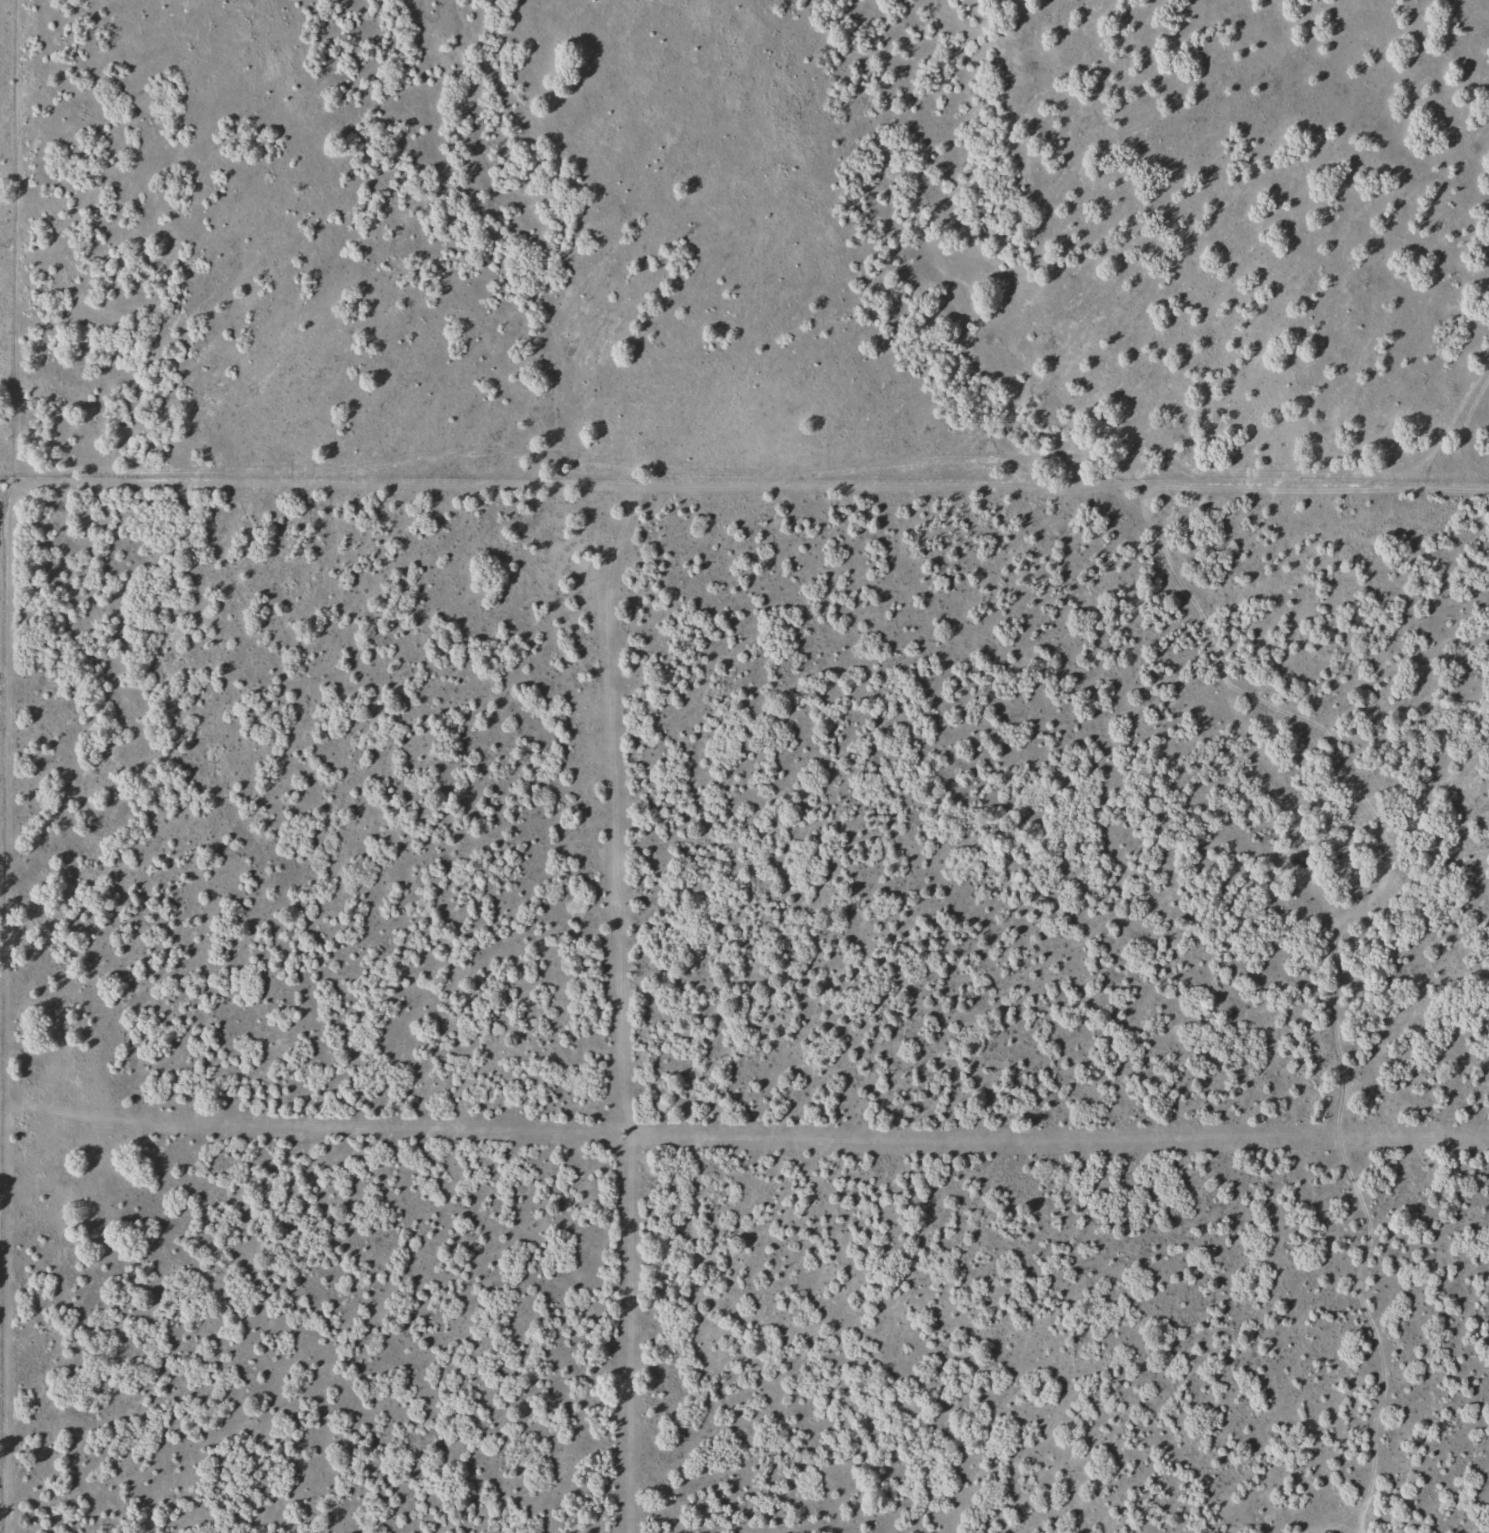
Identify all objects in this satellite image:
road: (1480, 1524)

